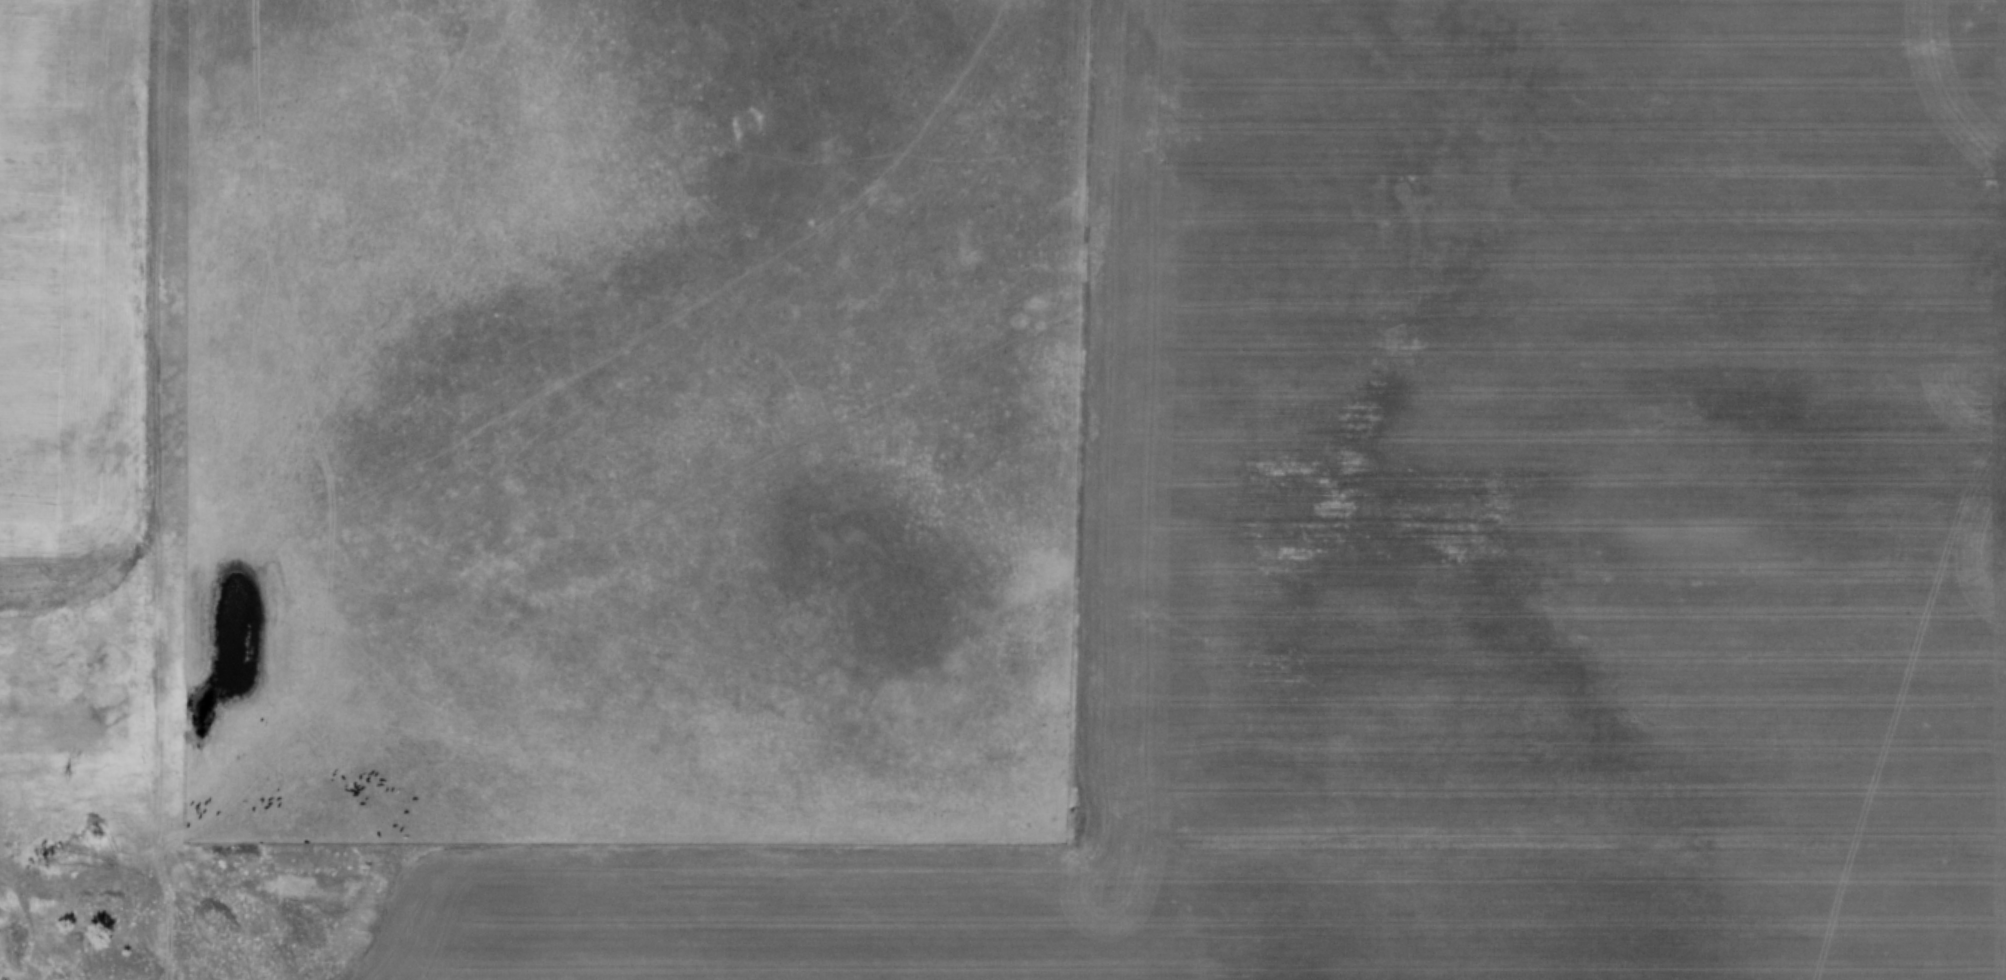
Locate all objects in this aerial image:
road: (158, 490)

